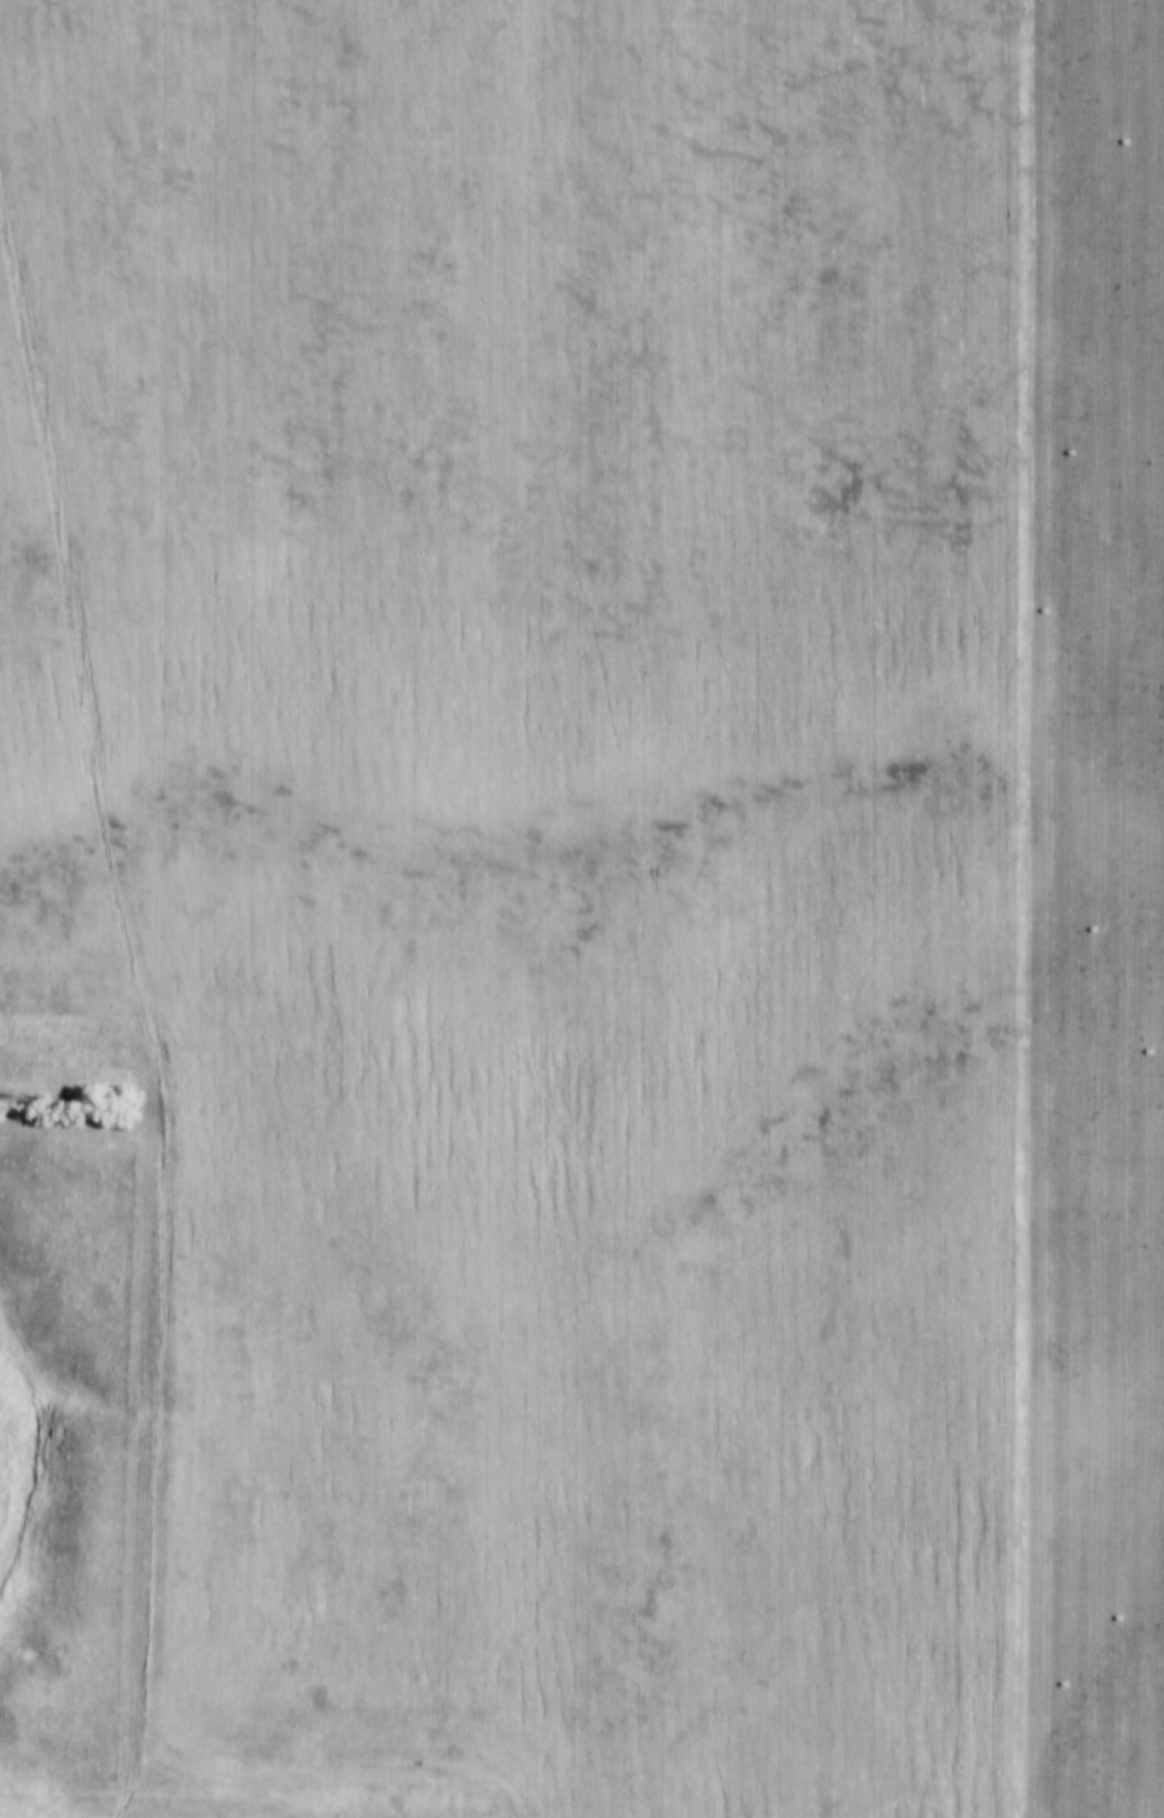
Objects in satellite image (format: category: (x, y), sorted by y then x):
building: (5, 1814)

